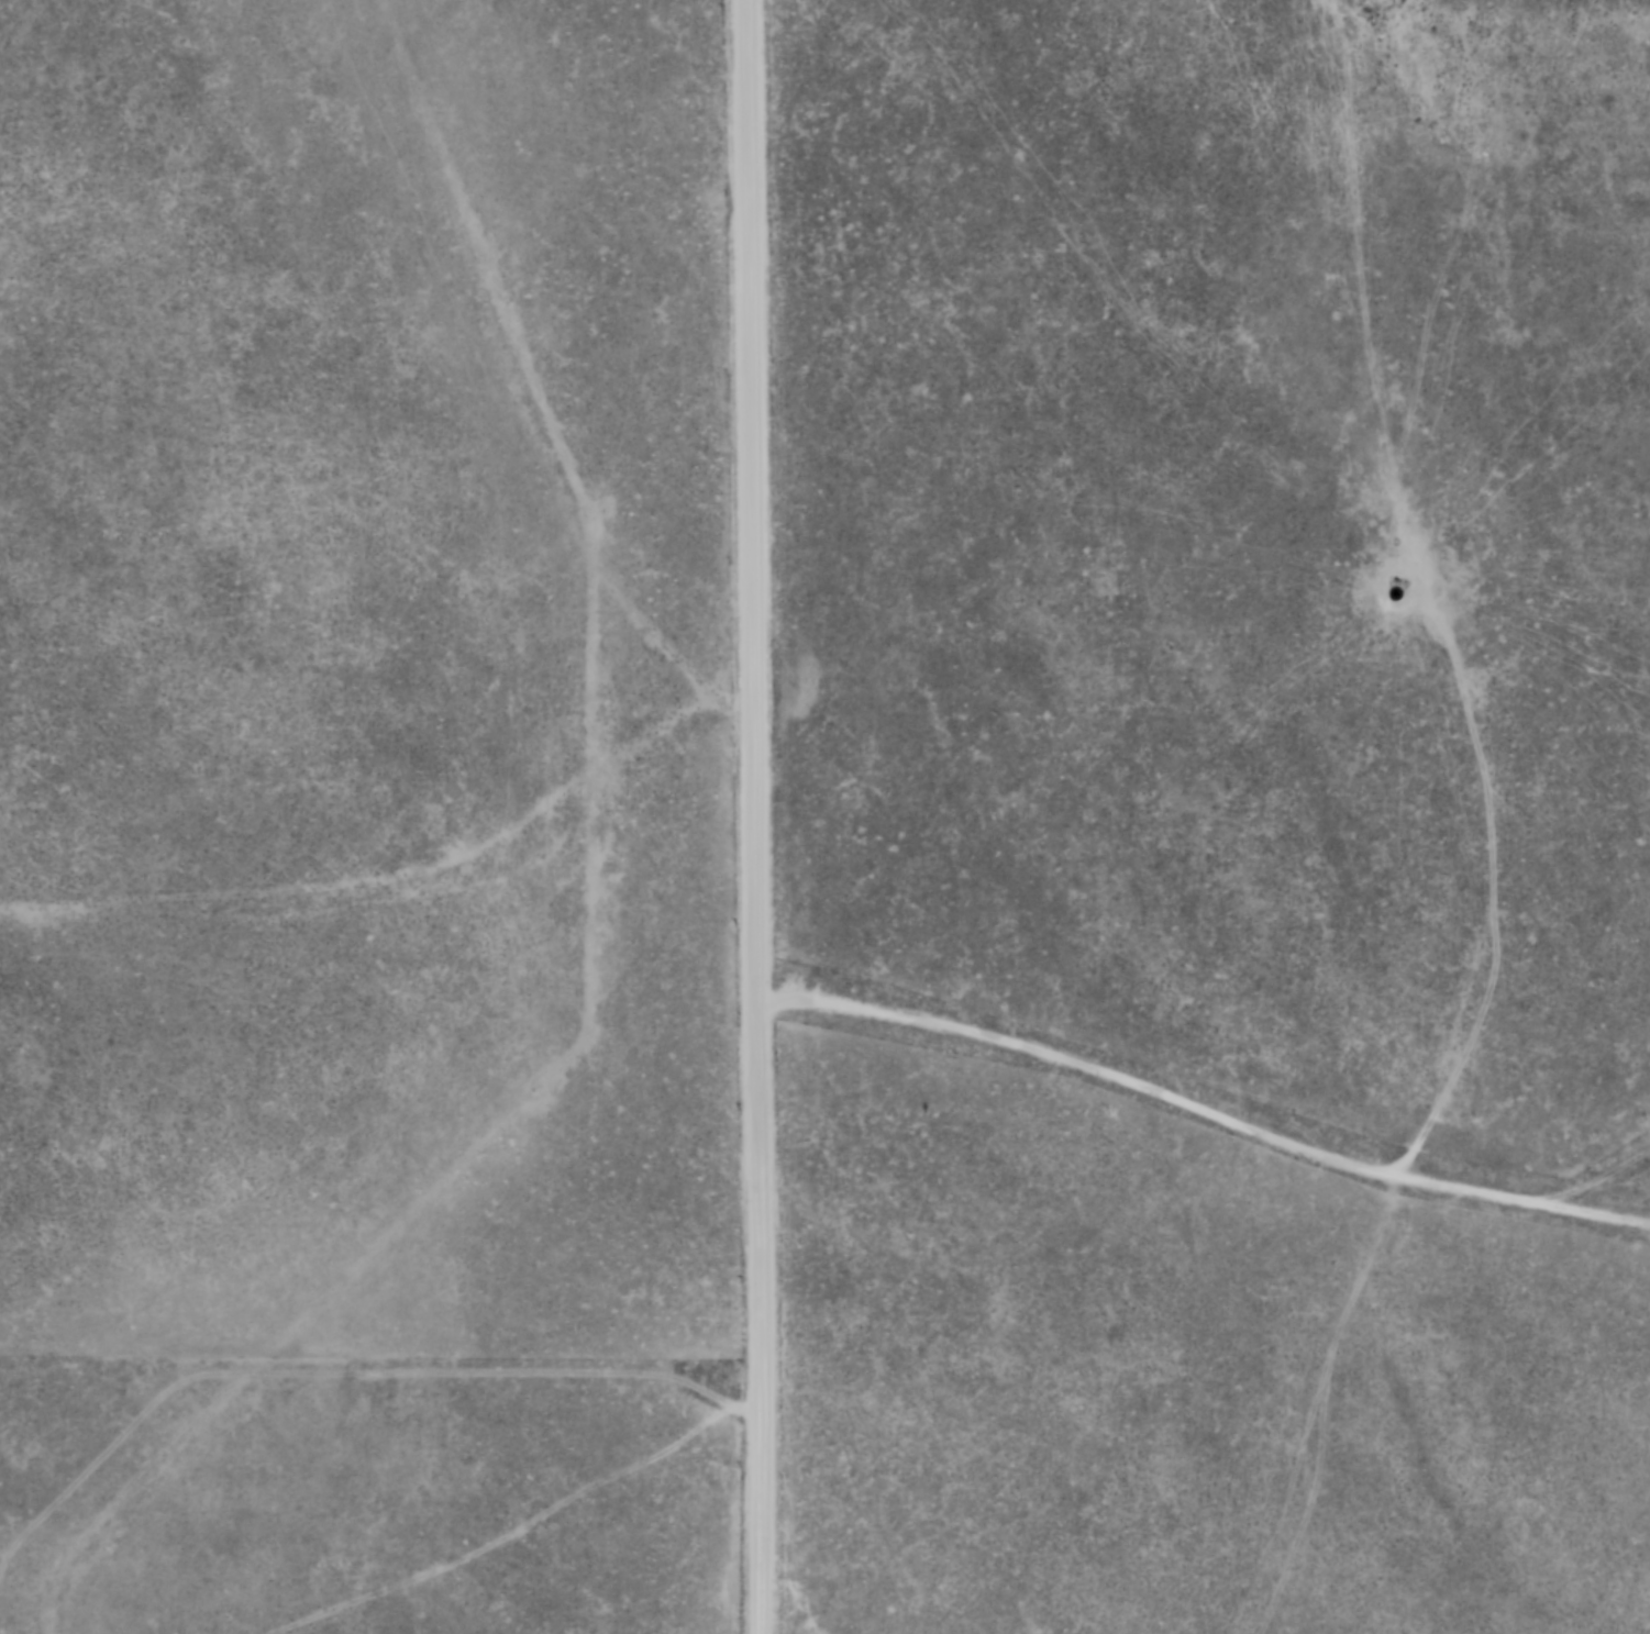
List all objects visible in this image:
road: (755, 816)
road: (1201, 1112)
road: (345, 1375)

